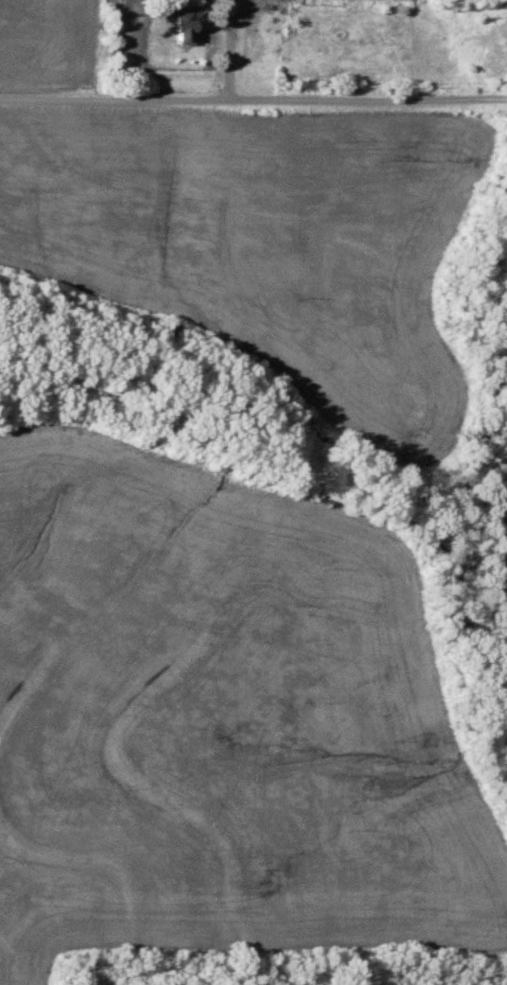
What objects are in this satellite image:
building: (181, 28)
road: (231, 49)
road: (253, 99)

